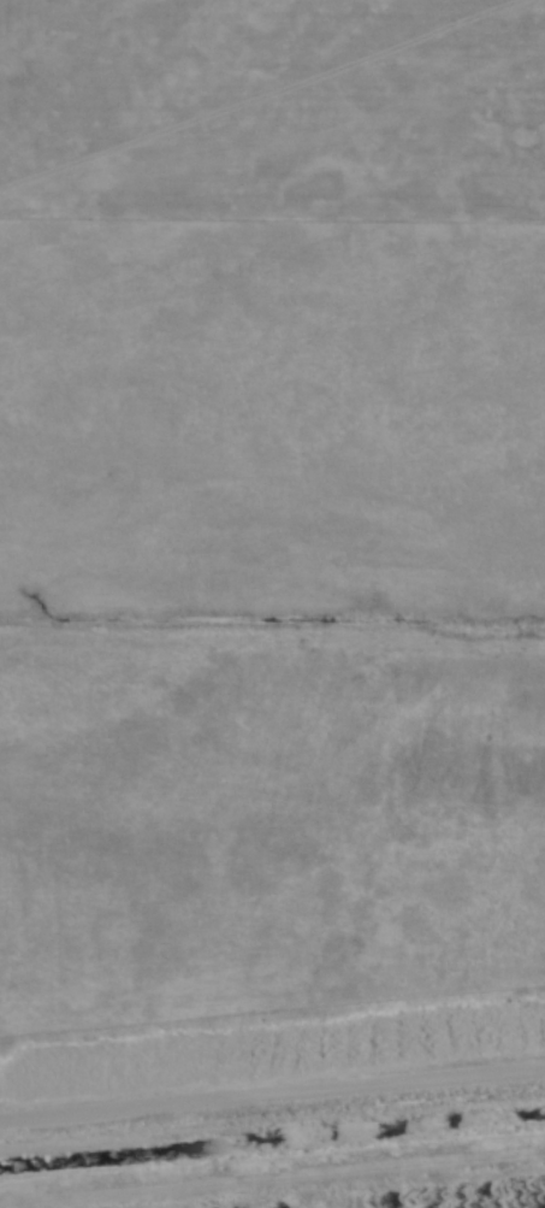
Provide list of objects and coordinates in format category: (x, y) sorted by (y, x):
road: (272, 1095)

